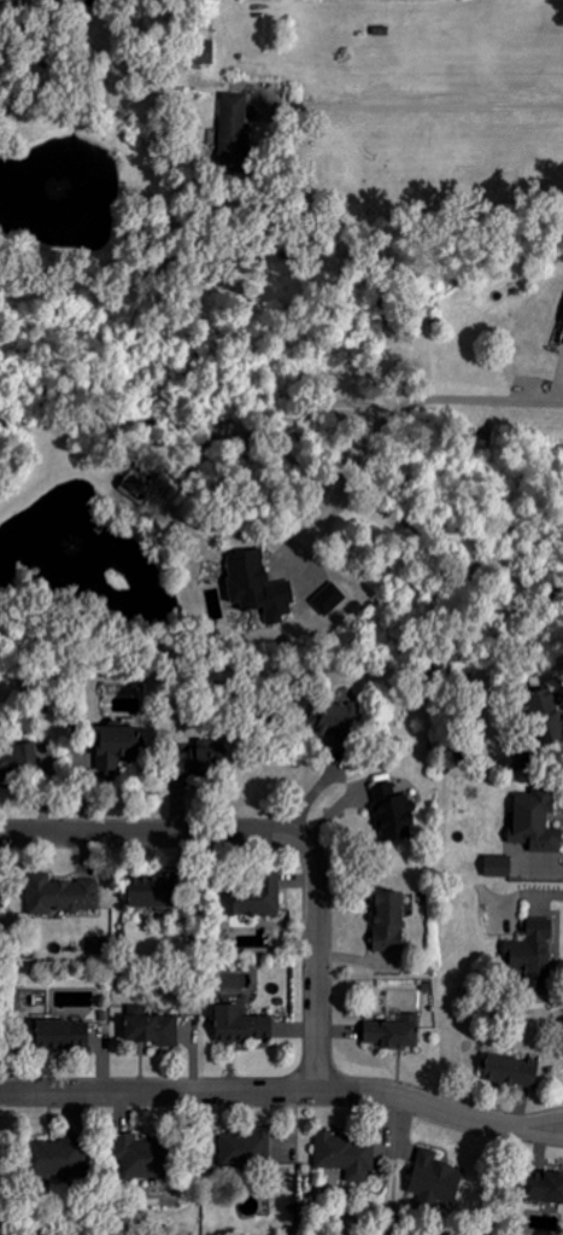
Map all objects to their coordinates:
building: (198, 51)
road: (417, 105)
building: (233, 126)
building: (561, 338)
road: (395, 410)
building: (139, 484)
building: (257, 587)
building: (329, 598)
building: (544, 715)
building: (334, 717)
building: (115, 746)
building: (17, 756)
building: (193, 761)
building: (392, 812)
building: (534, 822)
road: (280, 832)
building: (497, 866)
road: (556, 867)
building: (146, 892)
road: (550, 893)
building: (61, 895)
building: (253, 898)
building: (386, 921)
building: (532, 954)
building: (239, 1025)
building: (54, 1030)
building: (151, 1030)
building: (392, 1032)
building: (509, 1070)
road: (283, 1090)
building: (244, 1147)
building: (345, 1155)
building: (136, 1158)
building: (433, 1181)
building: (543, 1188)

